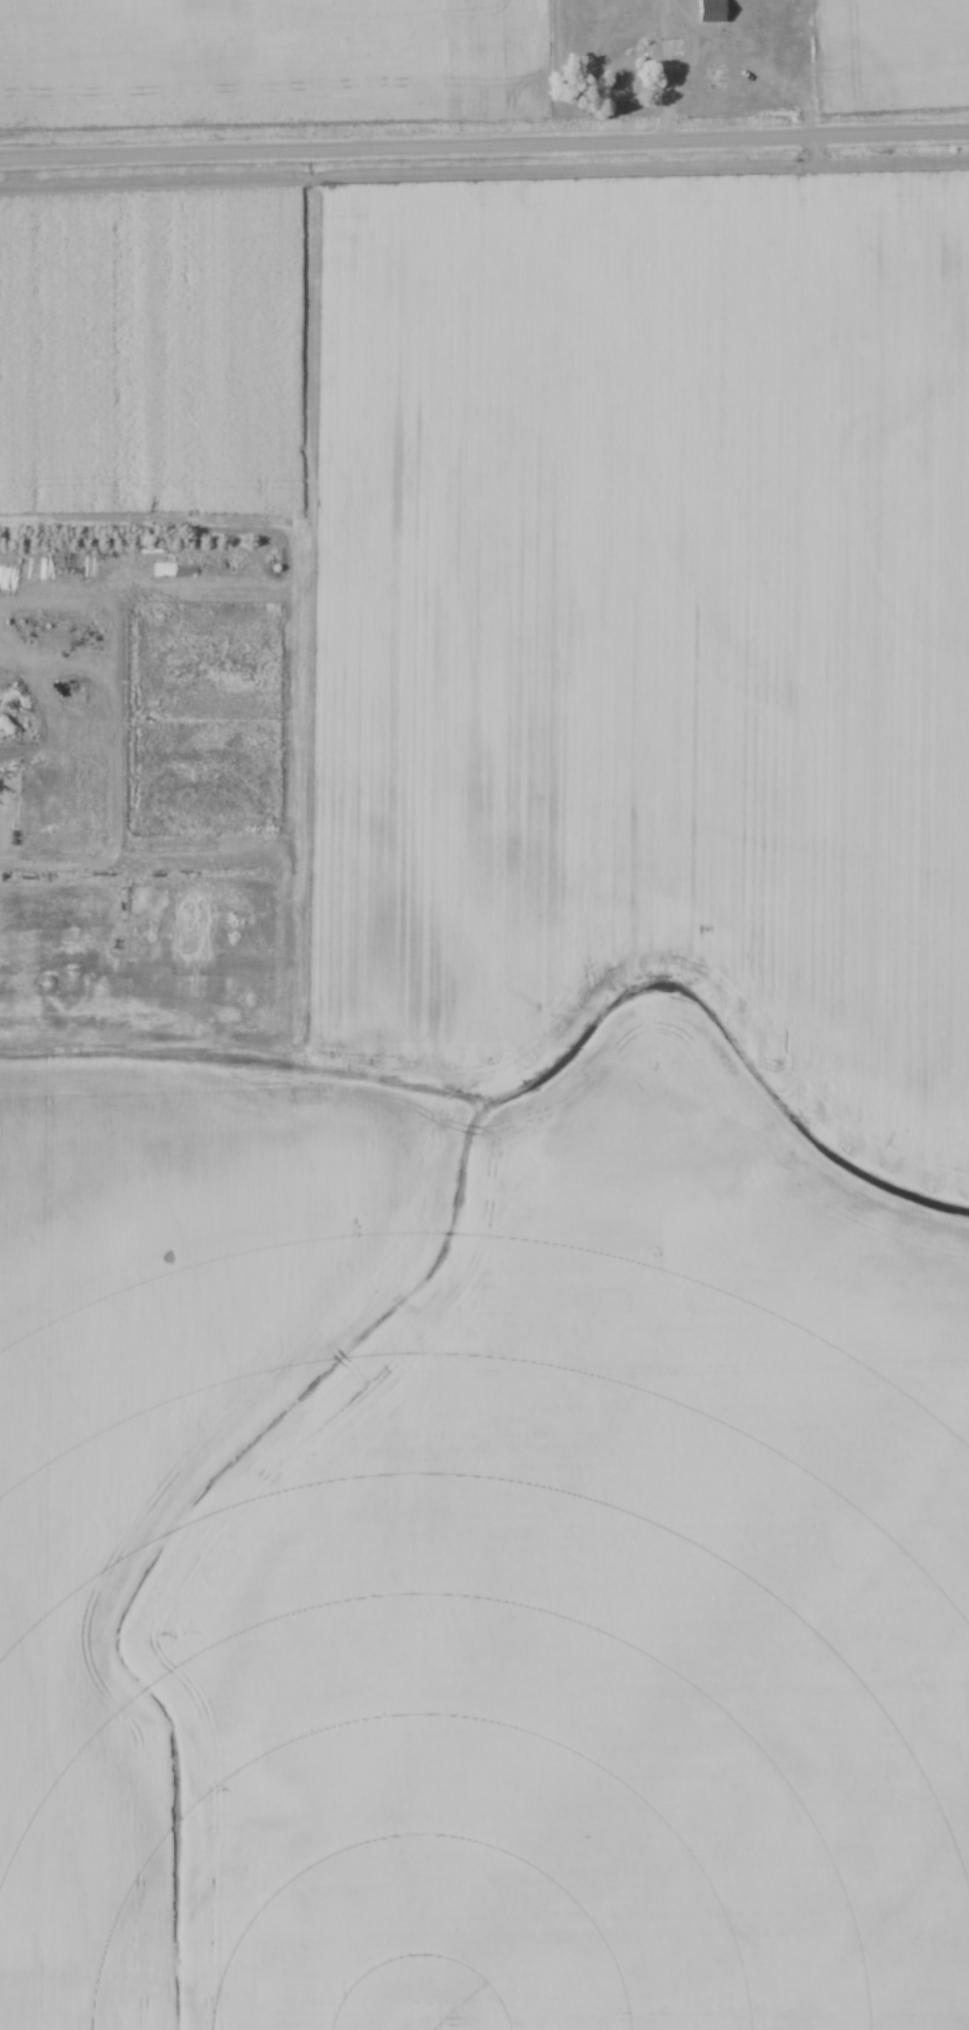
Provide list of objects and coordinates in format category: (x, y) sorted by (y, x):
road: (654, 5)
building: (713, 11)
building: (675, 47)
building: (718, 77)
road: (661, 125)
road: (484, 149)
building: (9, 973)
crop: (151, 1436)
crop: (604, 1607)

